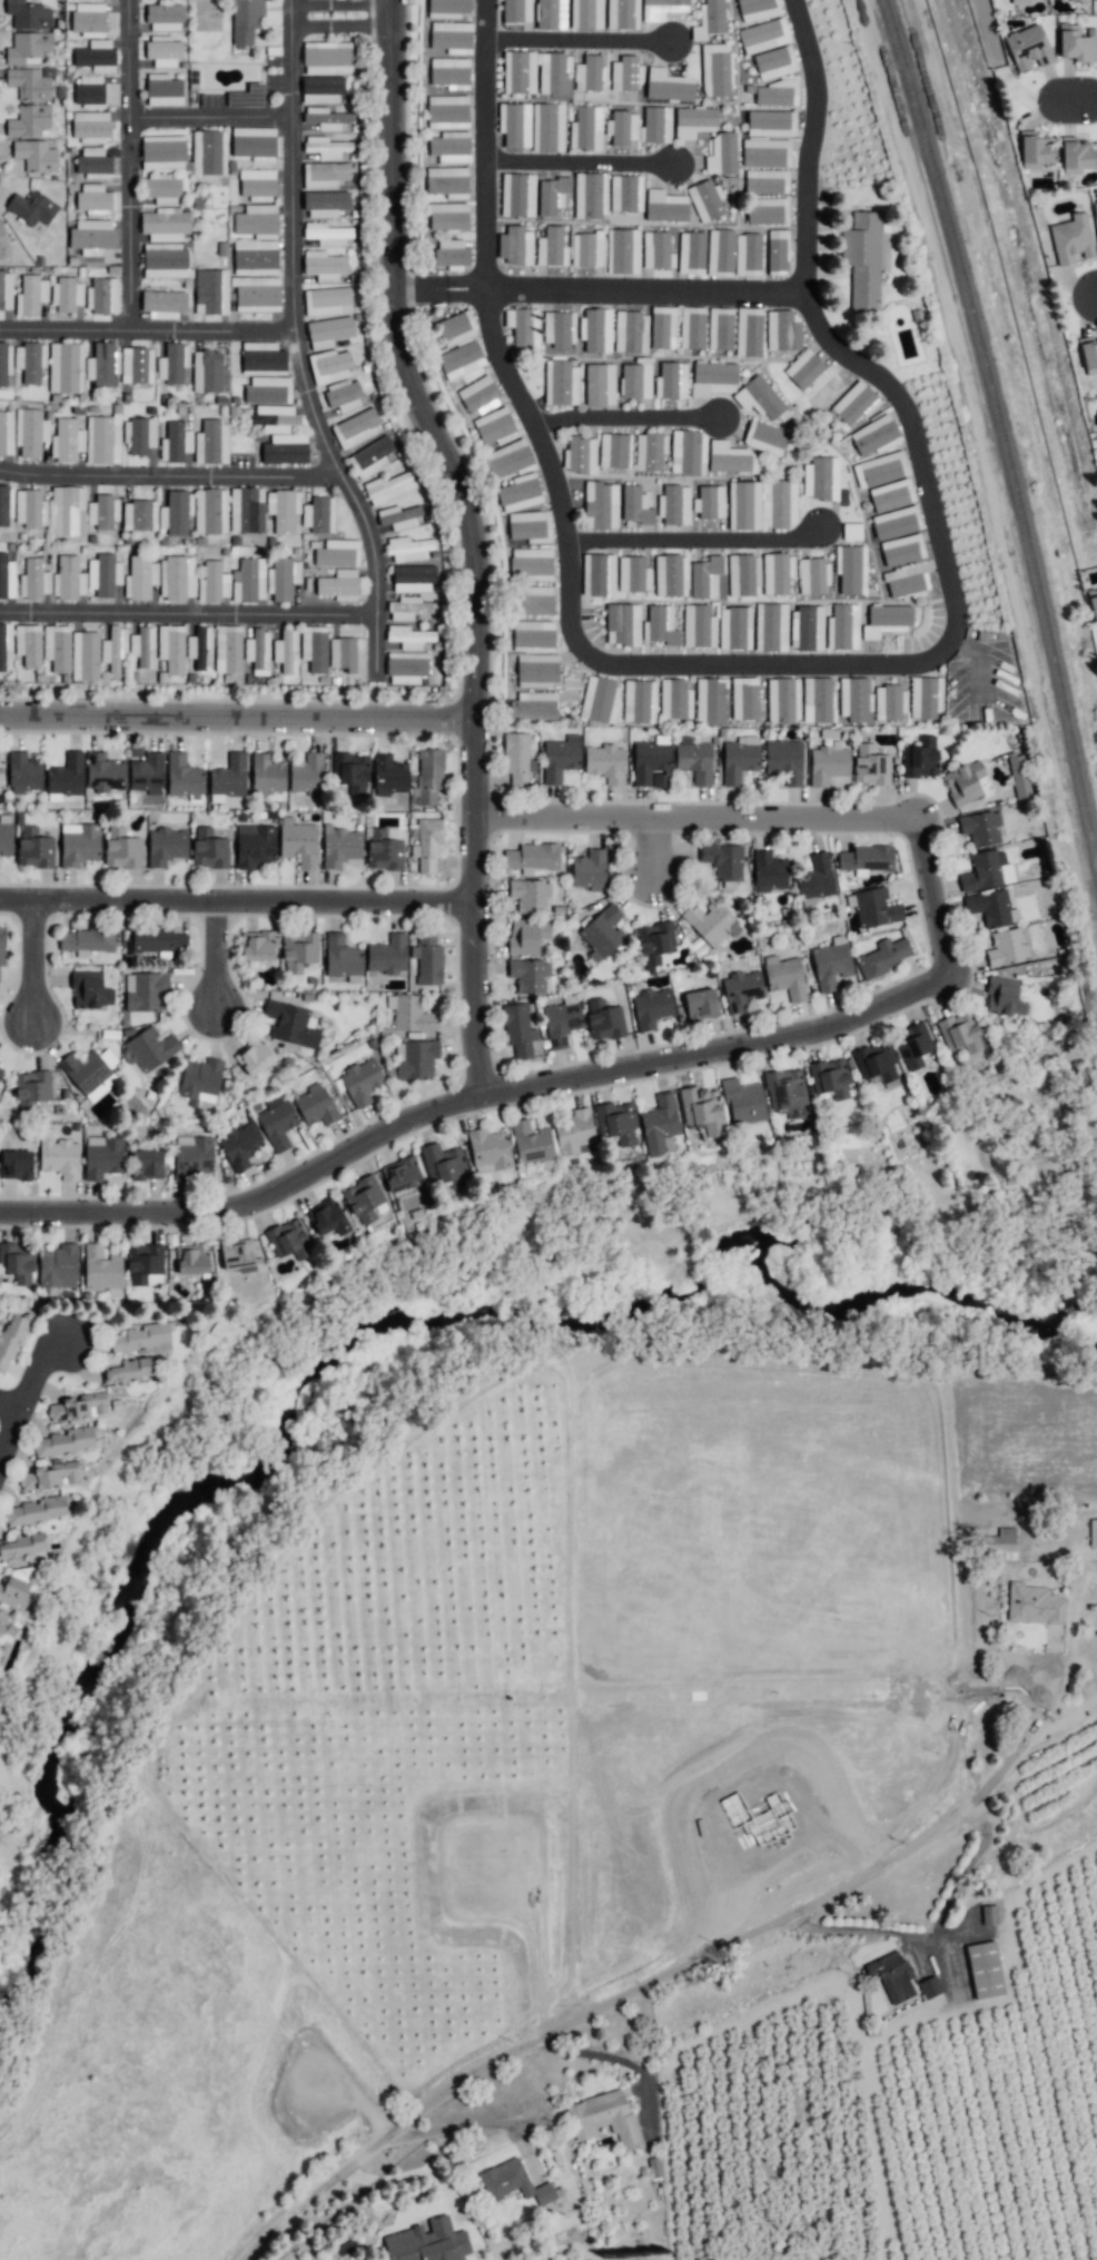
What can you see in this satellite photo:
building: (1078, 0)
building: (1095, 0)
building: (1020, 1)
building: (662, 9)
building: (758, 9)
building: (516, 10)
building: (622, 13)
building: (28, 14)
road: (348, 14)
building: (551, 14)
building: (587, 14)
building: (165, 16)
building: (88, 17)
building: (709, 19)
building: (245, 20)
building: (763, 36)
building: (451, 37)
building: (1077, 43)
building: (27, 46)
building: (1028, 47)
building: (162, 50)
road: (577, 50)
building: (95, 55)
building: (327, 57)
building: (774, 62)
building: (715, 69)
building: (518, 71)
building: (553, 71)
building: (449, 72)
building: (590, 72)
building: (625, 73)
building: (29, 83)
building: (668, 85)
building: (162, 89)
building: (322, 89)
building: (89, 90)
building: (773, 92)
road: (1069, 100)
building: (447, 111)
building: (326, 118)
building: (29, 120)
building: (694, 121)
building: (770, 122)
building: (514, 124)
building: (655, 124)
building: (90, 126)
building: (547, 127)
building: (622, 127)
building: (586, 128)
road: (214, 129)
building: (254, 142)
building: (326, 147)
building: (451, 147)
building: (1036, 147)
building: (207, 151)
building: (162, 152)
building: (765, 152)
building: (722, 154)
building: (1076, 154)
building: (36, 155)
building: (93, 161)
road: (131, 170)
building: (325, 175)
road: (575, 176)
building: (765, 180)
building: (447, 181)
building: (256, 184)
building: (161, 189)
building: (625, 193)
building: (517, 195)
building: (552, 195)
building: (590, 196)
building: (93, 199)
building: (705, 199)
building: (325, 203)
building: (665, 206)
building: (31, 207)
building: (768, 210)
building: (1096, 210)
building: (448, 216)
building: (257, 220)
building: (165, 224)
building: (326, 234)
building: (92, 236)
building: (1071, 238)
building: (3, 243)
building: (515, 245)
building: (551, 247)
building: (586, 249)
building: (656, 250)
building: (720, 251)
building: (777, 251)
building: (691, 253)
building: (748, 254)
building: (255, 257)
building: (166, 260)
building: (863, 260)
building: (324, 265)
building: (4, 290)
building: (210, 292)
building: (256, 293)
building: (67, 294)
building: (30, 295)
building: (101, 295)
road: (1088, 298)
building: (327, 300)
building: (164, 304)
road: (605, 305)
building: (456, 327)
building: (523, 327)
building: (663, 327)
building: (692, 327)
building: (557, 328)
building: (720, 328)
building: (595, 329)
building: (782, 329)
building: (328, 332)
building: (630, 332)
building: (749, 332)
road: (148, 342)
road: (297, 346)
building: (1088, 354)
building: (263, 357)
building: (461, 359)
building: (29, 361)
building: (4, 362)
building: (172, 363)
building: (102, 364)
building: (136, 364)
road: (418, 364)
building: (329, 366)
building: (66, 367)
building: (803, 368)
building: (207, 371)
building: (712, 377)
building: (635, 379)
building: (671, 381)
building: (561, 382)
building: (599, 384)
building: (268, 389)
building: (478, 394)
building: (343, 395)
building: (760, 398)
building: (854, 403)
building: (1096, 413)
building: (275, 417)
building: (1096, 418)
building: (354, 427)
building: (494, 427)
building: (30, 432)
railway: (1001, 432)
building: (6, 433)
building: (139, 435)
building: (874, 436)
road: (622, 437)
building: (765, 437)
building: (102, 438)
building: (67, 441)
building: (175, 442)
building: (211, 442)
building: (285, 448)
building: (614, 451)
building: (650, 451)
building: (688, 452)
building: (580, 454)
building: (370, 457)
building: (730, 457)
building: (510, 458)
building: (880, 468)
building: (821, 477)
building: (389, 486)
road: (171, 492)
building: (520, 492)
building: (891, 495)
building: (780, 503)
building: (3, 504)
building: (674, 504)
building: (601, 505)
building: (635, 505)
building: (743, 505)
building: (29, 507)
building: (246, 510)
building: (283, 510)
building: (68, 511)
building: (210, 511)
building: (102, 512)
building: (176, 512)
building: (318, 514)
building: (139, 515)
building: (398, 516)
building: (896, 522)
building: (530, 526)
building: (851, 531)
building: (407, 547)
building: (901, 550)
building: (337, 553)
road: (690, 560)
building: (532, 563)
building: (851, 569)
building: (777, 572)
building: (633, 573)
building: (103, 574)
building: (597, 574)
building: (743, 574)
building: (812, 574)
building: (670, 575)
building: (7, 576)
building: (705, 576)
building: (68, 578)
building: (140, 578)
building: (176, 578)
building: (413, 578)
building: (283, 579)
building: (33, 580)
building: (248, 580)
building: (903, 581)
building: (213, 582)
building: (338, 584)
building: (533, 600)
building: (1093, 602)
building: (408, 608)
road: (187, 614)
building: (887, 620)
building: (622, 624)
building: (661, 625)
building: (698, 625)
building: (770, 626)
building: (842, 626)
building: (734, 628)
building: (806, 628)
building: (533, 633)
building: (408, 636)
building: (4, 642)
building: (28, 644)
building: (141, 644)
building: (198, 645)
building: (57, 648)
building: (113, 648)
building: (171, 648)
building: (314, 648)
building: (227, 649)
building: (285, 649)
building: (257, 651)
building: (343, 653)
building: (85, 655)
building: (407, 668)
building: (537, 669)
road: (777, 687)
building: (925, 697)
building: (744, 698)
building: (600, 699)
building: (674, 699)
building: (853, 699)
building: (710, 700)
building: (782, 700)
building: (818, 700)
building: (639, 701)
building: (889, 702)
building: (533, 705)
road: (239, 721)
building: (920, 757)
building: (517, 758)
building: (560, 758)
building: (693, 759)
building: (739, 759)
building: (784, 760)
building: (605, 762)
building: (651, 762)
building: (828, 763)
building: (870, 764)
building: (0, 770)
building: (352, 771)
building: (23, 772)
building: (103, 772)
building: (147, 772)
building: (307, 773)
building: (1017, 773)
building: (66, 774)
building: (267, 774)
building: (429, 774)
building: (182, 776)
building: (229, 776)
building: (389, 776)
building: (966, 782)
road: (701, 818)
building: (980, 827)
building: (6, 833)
building: (79, 843)
building: (299, 843)
building: (255, 845)
building: (166, 846)
building: (340, 846)
building: (427, 846)
road: (660, 846)
building: (33, 848)
building: (121, 848)
building: (209, 849)
building: (383, 850)
building: (532, 857)
building: (867, 858)
building: (722, 862)
building: (589, 869)
building: (987, 870)
building: (769, 871)
building: (816, 877)
road: (938, 895)
building: (530, 896)
road: (239, 905)
road: (481, 908)
building: (991, 908)
building: (711, 921)
building: (602, 932)
building: (526, 935)
building: (86, 939)
building: (158, 940)
building: (654, 944)
building: (2, 945)
building: (257, 945)
building: (1006, 947)
building: (298, 950)
building: (387, 954)
building: (884, 957)
road: (221, 958)
building: (427, 958)
building: (342, 959)
building: (830, 965)
road: (39, 966)
building: (528, 975)
building: (784, 976)
building: (741, 989)
building: (90, 990)
building: (145, 991)
building: (1004, 997)
building: (701, 1004)
building: (651, 1007)
building: (409, 1013)
building: (603, 1019)
building: (561, 1023)
building: (290, 1024)
building: (518, 1029)
building: (961, 1032)
building: (912, 1045)
building: (149, 1046)
building: (253, 1056)
building: (415, 1059)
building: (874, 1062)
building: (1, 1073)
building: (87, 1074)
building: (830, 1077)
building: (200, 1080)
building: (360, 1080)
building: (785, 1089)
road: (474, 1099)
building: (743, 1102)
building: (315, 1105)
building: (703, 1109)
building: (798, 1113)
building: (277, 1122)
building: (616, 1122)
building: (659, 1123)
building: (575, 1133)
building: (531, 1142)
building: (239, 1146)
building: (488, 1149)
building: (59, 1155)
building: (102, 1156)
building: (192, 1156)
building: (16, 1164)
building: (147, 1164)
building: (445, 1165)
building: (401, 1174)
building: (365, 1200)
building: (326, 1217)
building: (288, 1240)
building: (237, 1254)
building: (191, 1260)
building: (17, 1262)
building: (145, 1264)
building: (58, 1266)
building: (100, 1270)
building: (10, 1338)
building: (141, 1339)
building: (129, 1369)
road: (31, 1405)
building: (78, 1407)
road: (13, 1408)
building: (65, 1441)
building: (48, 1476)
building: (1093, 1532)
building: (24, 1545)
building: (999, 1545)
building: (1034, 1603)
building: (6, 1625)
building: (989, 1914)
road: (668, 1968)
building: (988, 1974)
building: (891, 1976)
building: (929, 1986)
road: (617, 2060)
building: (604, 2119)
road: (457, 2124)
building: (513, 2182)
building: (427, 2242)

